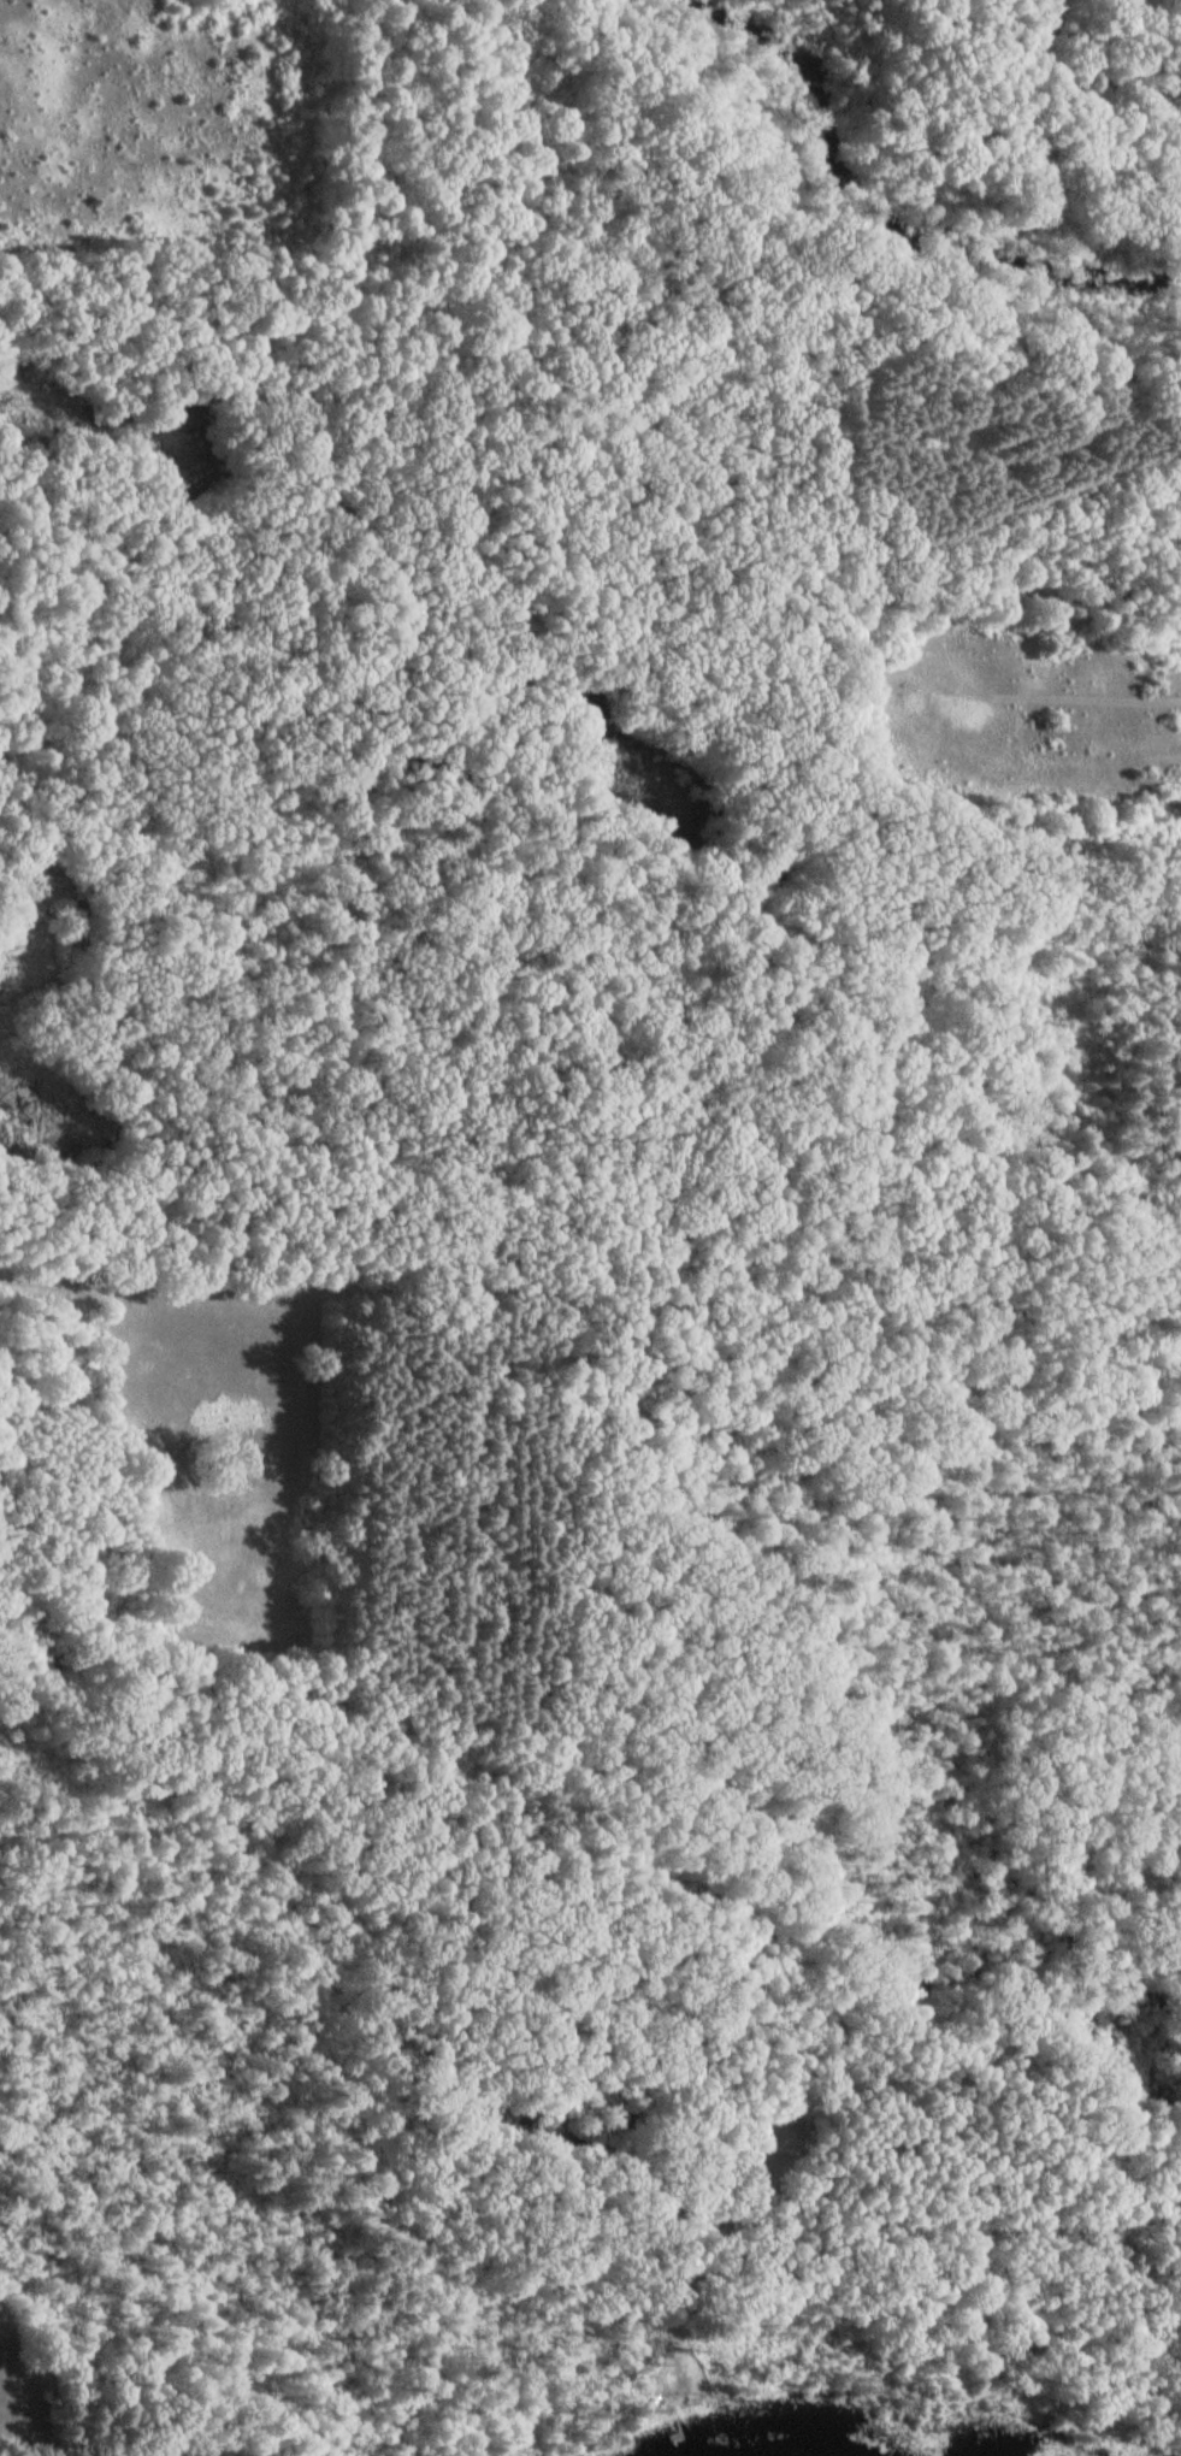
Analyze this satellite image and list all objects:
road: (1014, 603)
road: (83, 1194)
road: (868, 1241)

